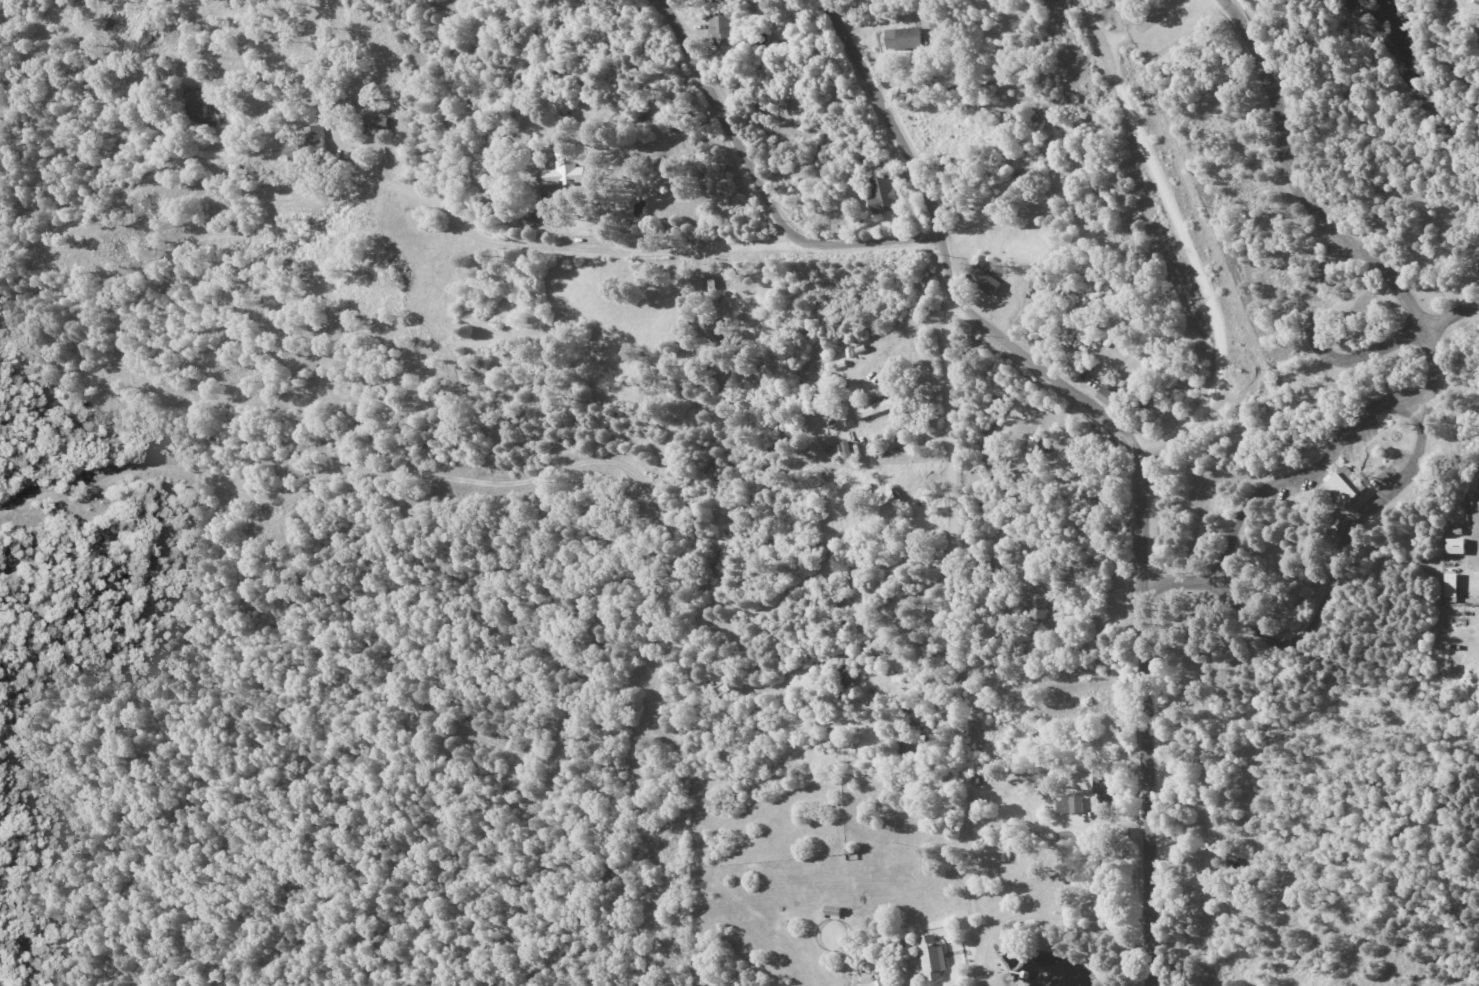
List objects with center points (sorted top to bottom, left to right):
road: (1097, 28)
building: (721, 29)
road: (1157, 32)
building: (903, 38)
building: (375, 126)
road: (1280, 131)
road: (731, 132)
building: (311, 142)
building: (560, 172)
building: (882, 194)
road: (475, 236)
road: (883, 239)
road: (710, 246)
road: (947, 266)
road: (1336, 267)
building: (985, 278)
building: (1039, 281)
road: (1331, 365)
building: (1108, 395)
building: (881, 406)
road: (953, 441)
road: (565, 479)
road: (1308, 484)
building: (1345, 487)
road: (1140, 496)
building: (887, 503)
building: (1455, 545)
road: (1478, 557)
road: (1348, 560)
building: (1451, 587)
building: (1037, 602)
road: (954, 623)
building: (1075, 804)
building: (932, 956)
building: (877, 983)

